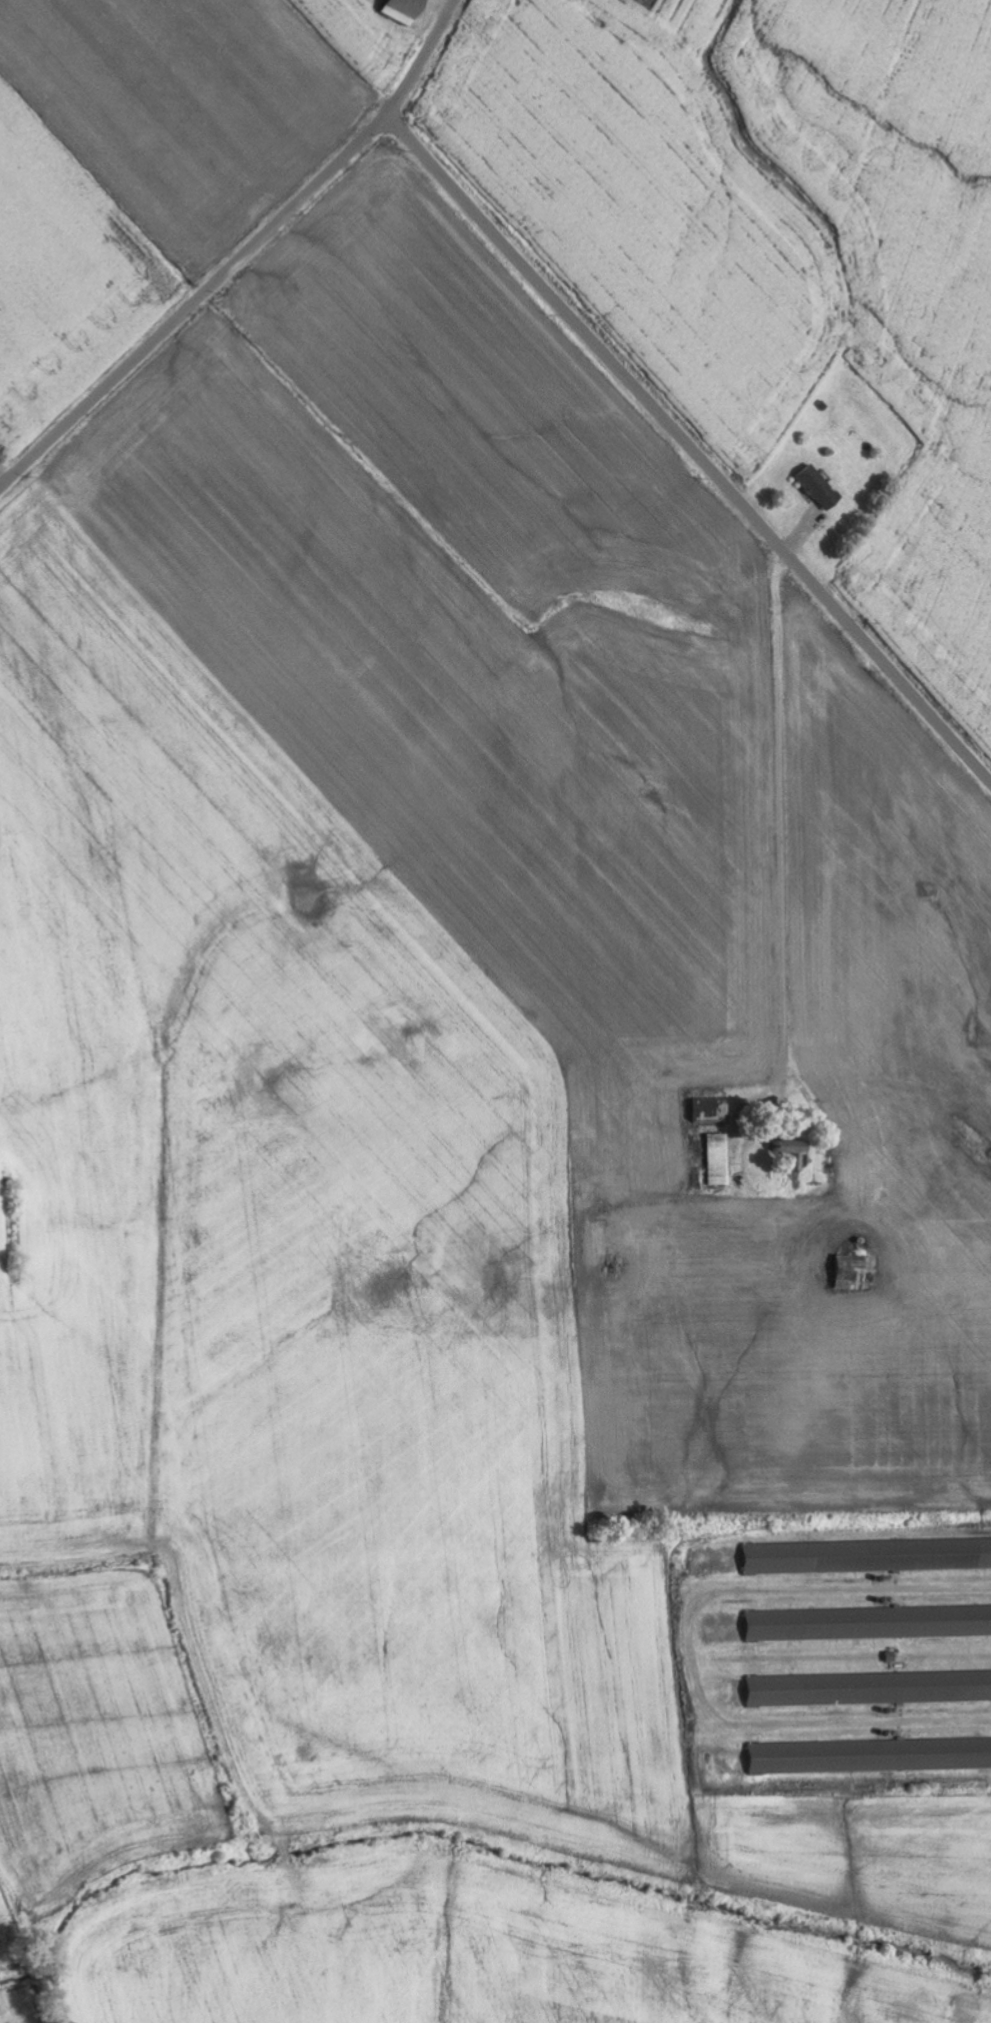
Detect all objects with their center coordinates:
building: (408, 11)
road: (242, 255)
road: (689, 447)
building: (814, 487)
road: (788, 824)
building: (705, 1112)
building: (715, 1160)
building: (845, 1273)
building: (869, 1556)
building: (870, 1623)
building: (871, 1688)
building: (871, 1756)

